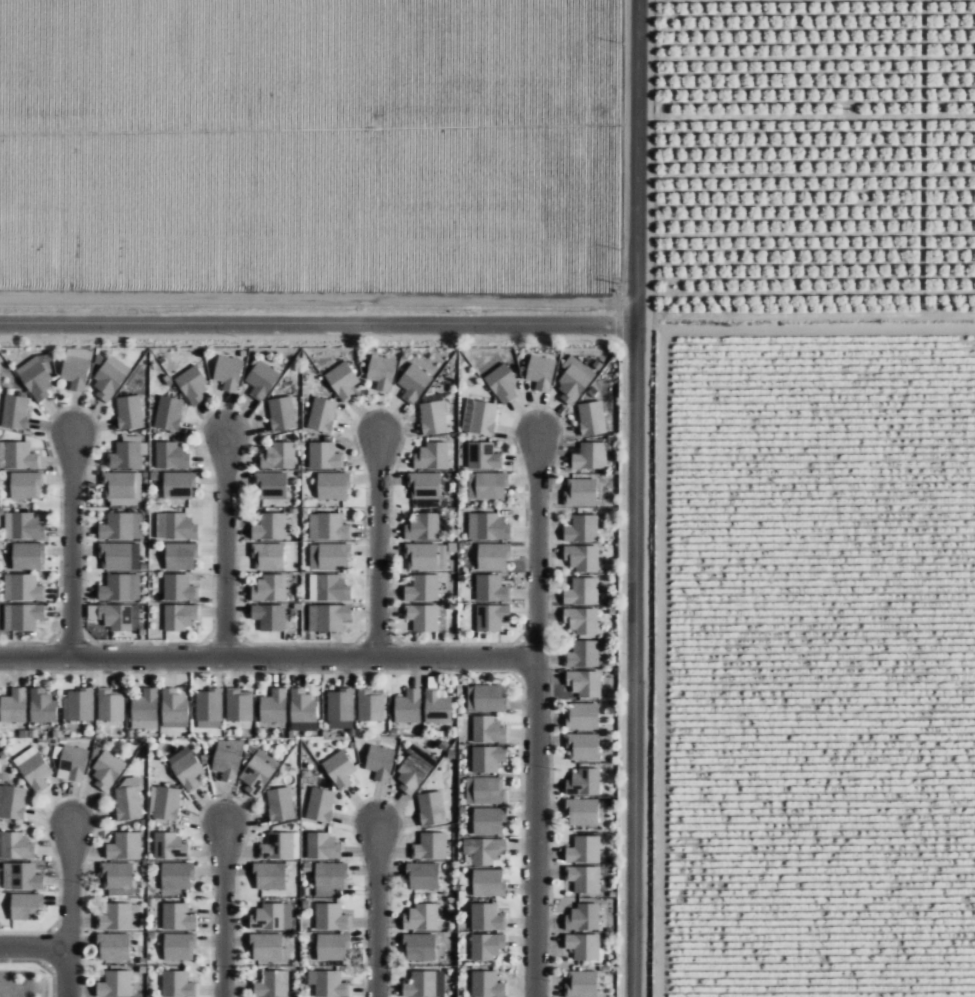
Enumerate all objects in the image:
road: (317, 324)
building: (381, 371)
building: (75, 372)
building: (228, 372)
building: (541, 372)
building: (109, 378)
building: (36, 379)
building: (261, 379)
building: (574, 379)
building: (342, 380)
building: (413, 383)
building: (502, 383)
building: (192, 385)
building: (15, 412)
building: (129, 412)
building: (168, 413)
building: (281, 413)
building: (322, 414)
building: (433, 415)
building: (479, 417)
building: (591, 418)
building: (127, 453)
building: (19, 455)
building: (171, 456)
building: (279, 456)
building: (324, 456)
building: (431, 456)
building: (483, 456)
building: (590, 456)
building: (26, 484)
building: (178, 485)
building: (271, 485)
building: (333, 485)
building: (487, 485)
building: (424, 486)
building: (123, 488)
building: (580, 492)
road: (633, 498)
building: (24, 526)
building: (120, 526)
building: (173, 526)
building: (270, 526)
building: (328, 526)
building: (423, 527)
building: (488, 527)
building: (582, 528)
road: (70, 544)
road: (224, 544)
road: (377, 544)
road: (535, 545)
building: (27, 556)
building: (119, 556)
building: (180, 556)
building: (268, 556)
building: (329, 556)
building: (426, 556)
building: (493, 556)
building: (582, 557)
building: (22, 588)
building: (120, 588)
building: (179, 588)
building: (269, 588)
building: (329, 588)
building: (422, 588)
building: (491, 588)
building: (582, 591)
building: (22, 616)
building: (179, 616)
building: (119, 617)
building: (271, 617)
building: (328, 617)
building: (422, 617)
building: (491, 617)
building: (582, 621)
building: (583, 654)
road: (267, 656)
building: (584, 683)
building: (489, 698)
building: (80, 704)
building: (111, 704)
building: (239, 704)
building: (13, 705)
building: (370, 705)
building: (42, 706)
building: (174, 706)
building: (273, 706)
building: (302, 706)
building: (408, 706)
building: (437, 707)
building: (209, 708)
building: (145, 709)
building: (340, 709)
building: (583, 716)
building: (14, 725)
building: (488, 730)
building: (583, 747)
building: (487, 758)
building: (227, 759)
building: (380, 762)
building: (73, 763)
building: (33, 768)
building: (186, 768)
building: (339, 769)
building: (414, 769)
building: (106, 771)
building: (257, 773)
building: (583, 782)
building: (485, 790)
building: (128, 799)
building: (13, 802)
building: (164, 803)
building: (280, 804)
building: (320, 805)
building: (431, 808)
building: (582, 812)
building: (488, 821)
road: (533, 827)
building: (124, 846)
building: (170, 846)
building: (280, 846)
building: (430, 846)
building: (16, 847)
building: (322, 847)
building: (584, 850)
building: (487, 851)
building: (176, 875)
building: (269, 876)
building: (423, 876)
building: (21, 877)
building: (330, 878)
building: (117, 879)
building: (584, 879)
building: (488, 883)
road: (69, 884)
building: (26, 907)
road: (222, 910)
road: (376, 910)
building: (119, 917)
building: (178, 917)
building: (272, 917)
building: (330, 917)
building: (487, 917)
building: (421, 918)
building: (582, 918)
road: (34, 945)
building: (113, 946)
building: (179, 946)
building: (266, 946)
building: (332, 946)
building: (487, 946)
building: (583, 946)
building: (419, 947)
road: (67, 971)
building: (582, 983)
building: (115, 984)
building: (177, 984)
building: (272, 984)
building: (328, 984)
building: (425, 984)
building: (487, 985)

